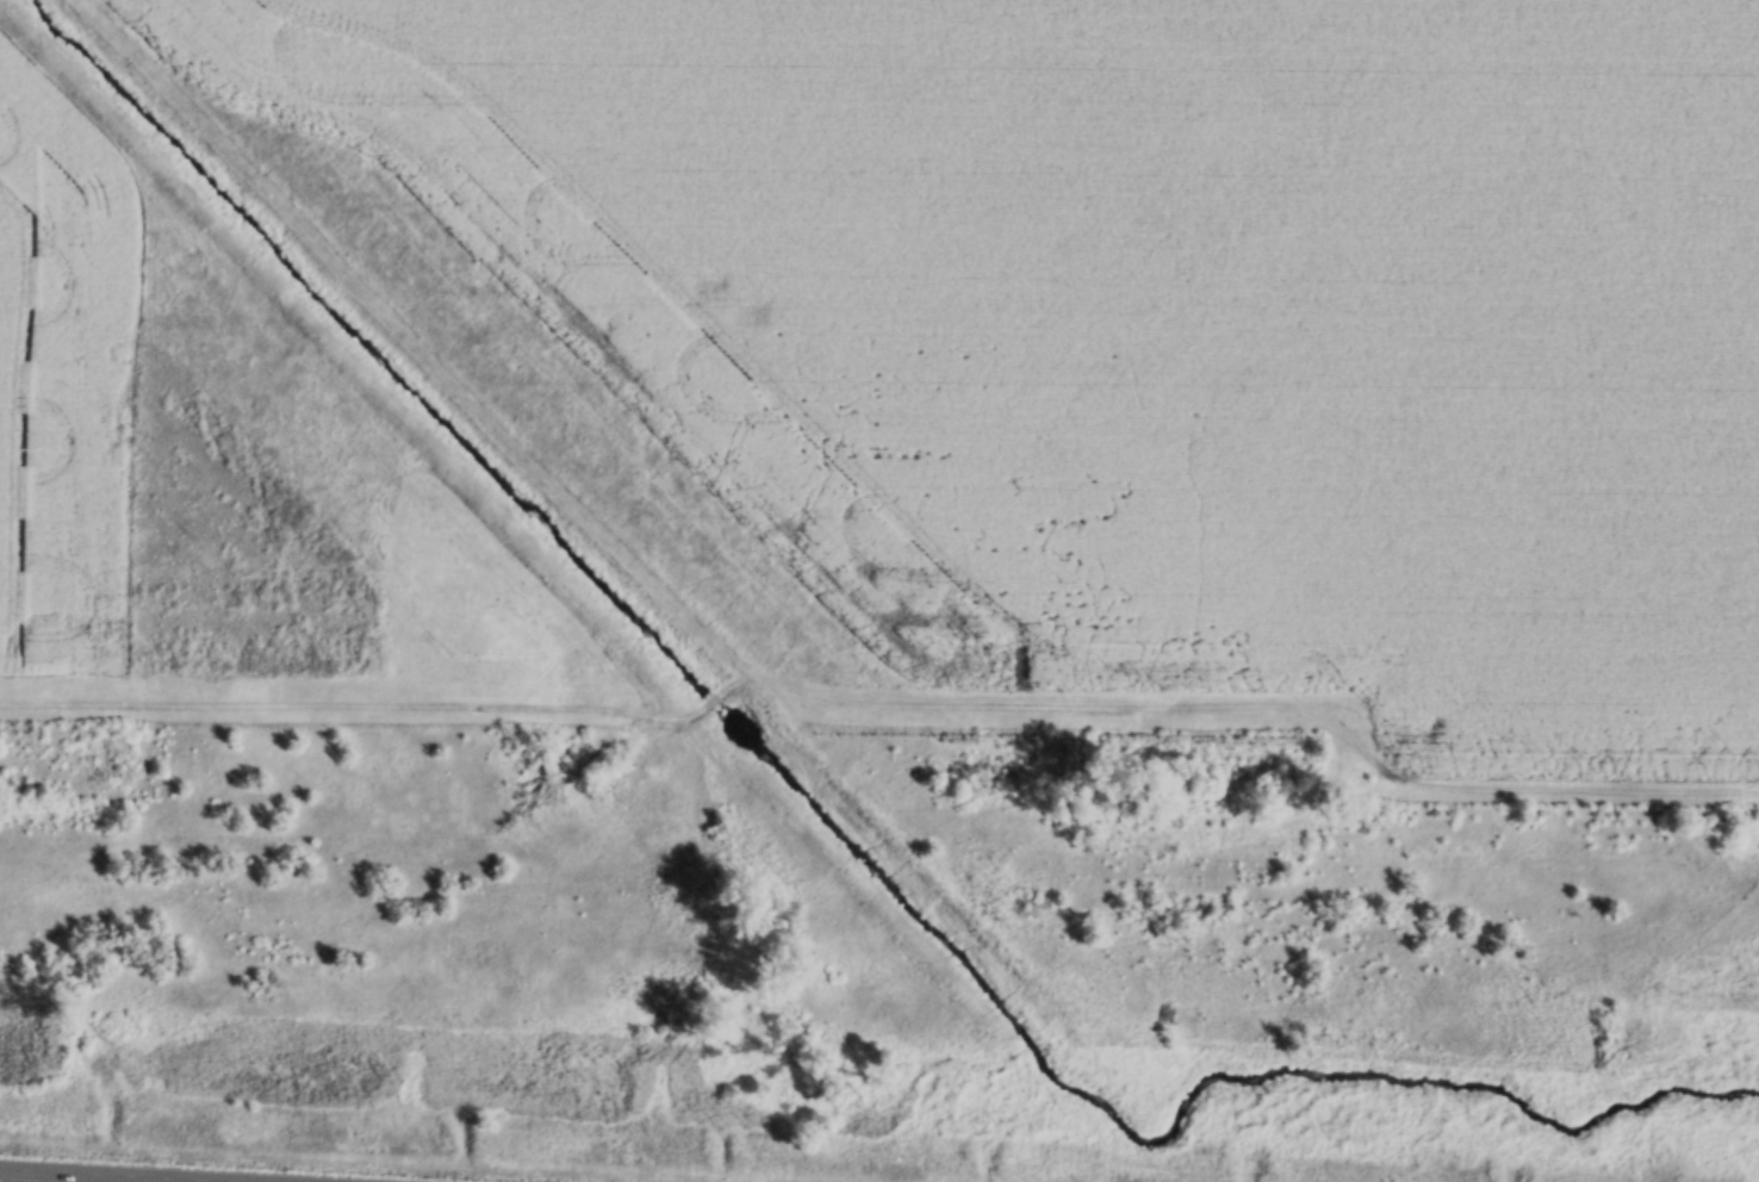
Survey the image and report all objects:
road: (131, 1174)

